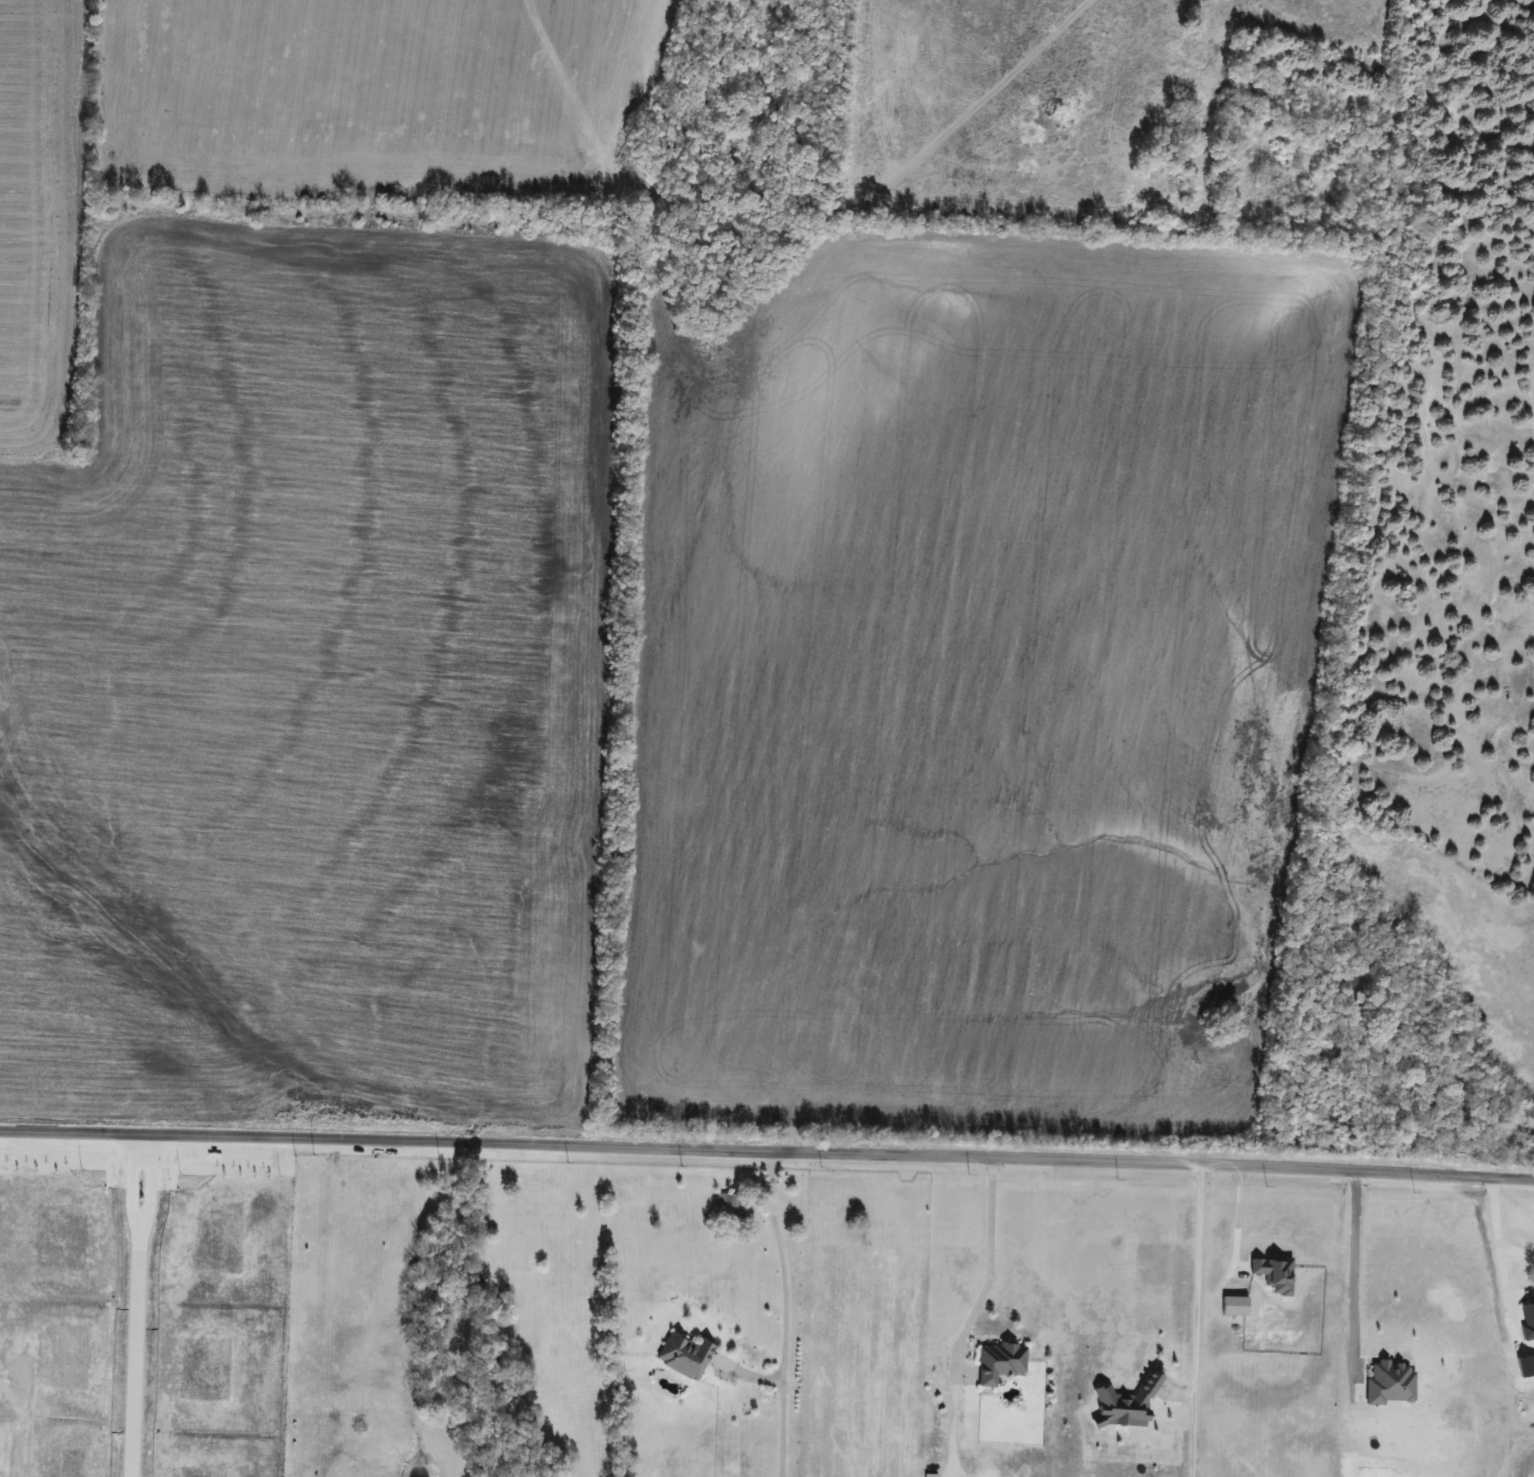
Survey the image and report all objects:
road: (767, 1151)
building: (730, 1203)
road: (1239, 1215)
road: (1497, 1232)
road: (780, 1259)
road: (1354, 1265)
road: (990, 1270)
road: (1195, 1320)
building: (683, 1355)
building: (998, 1362)

